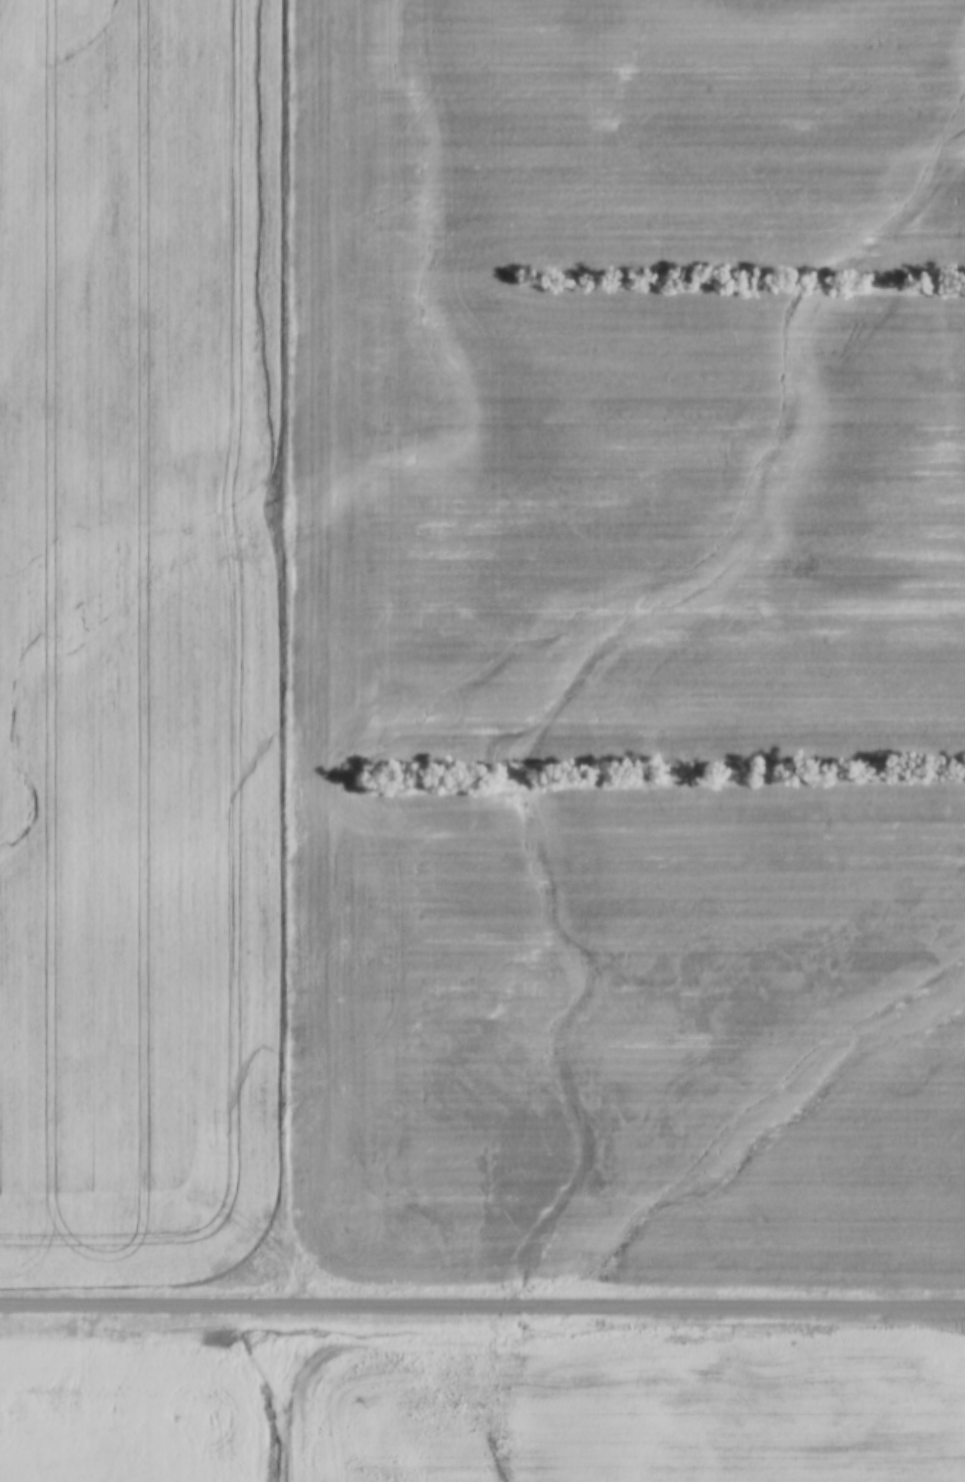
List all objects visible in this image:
road: (482, 1308)

